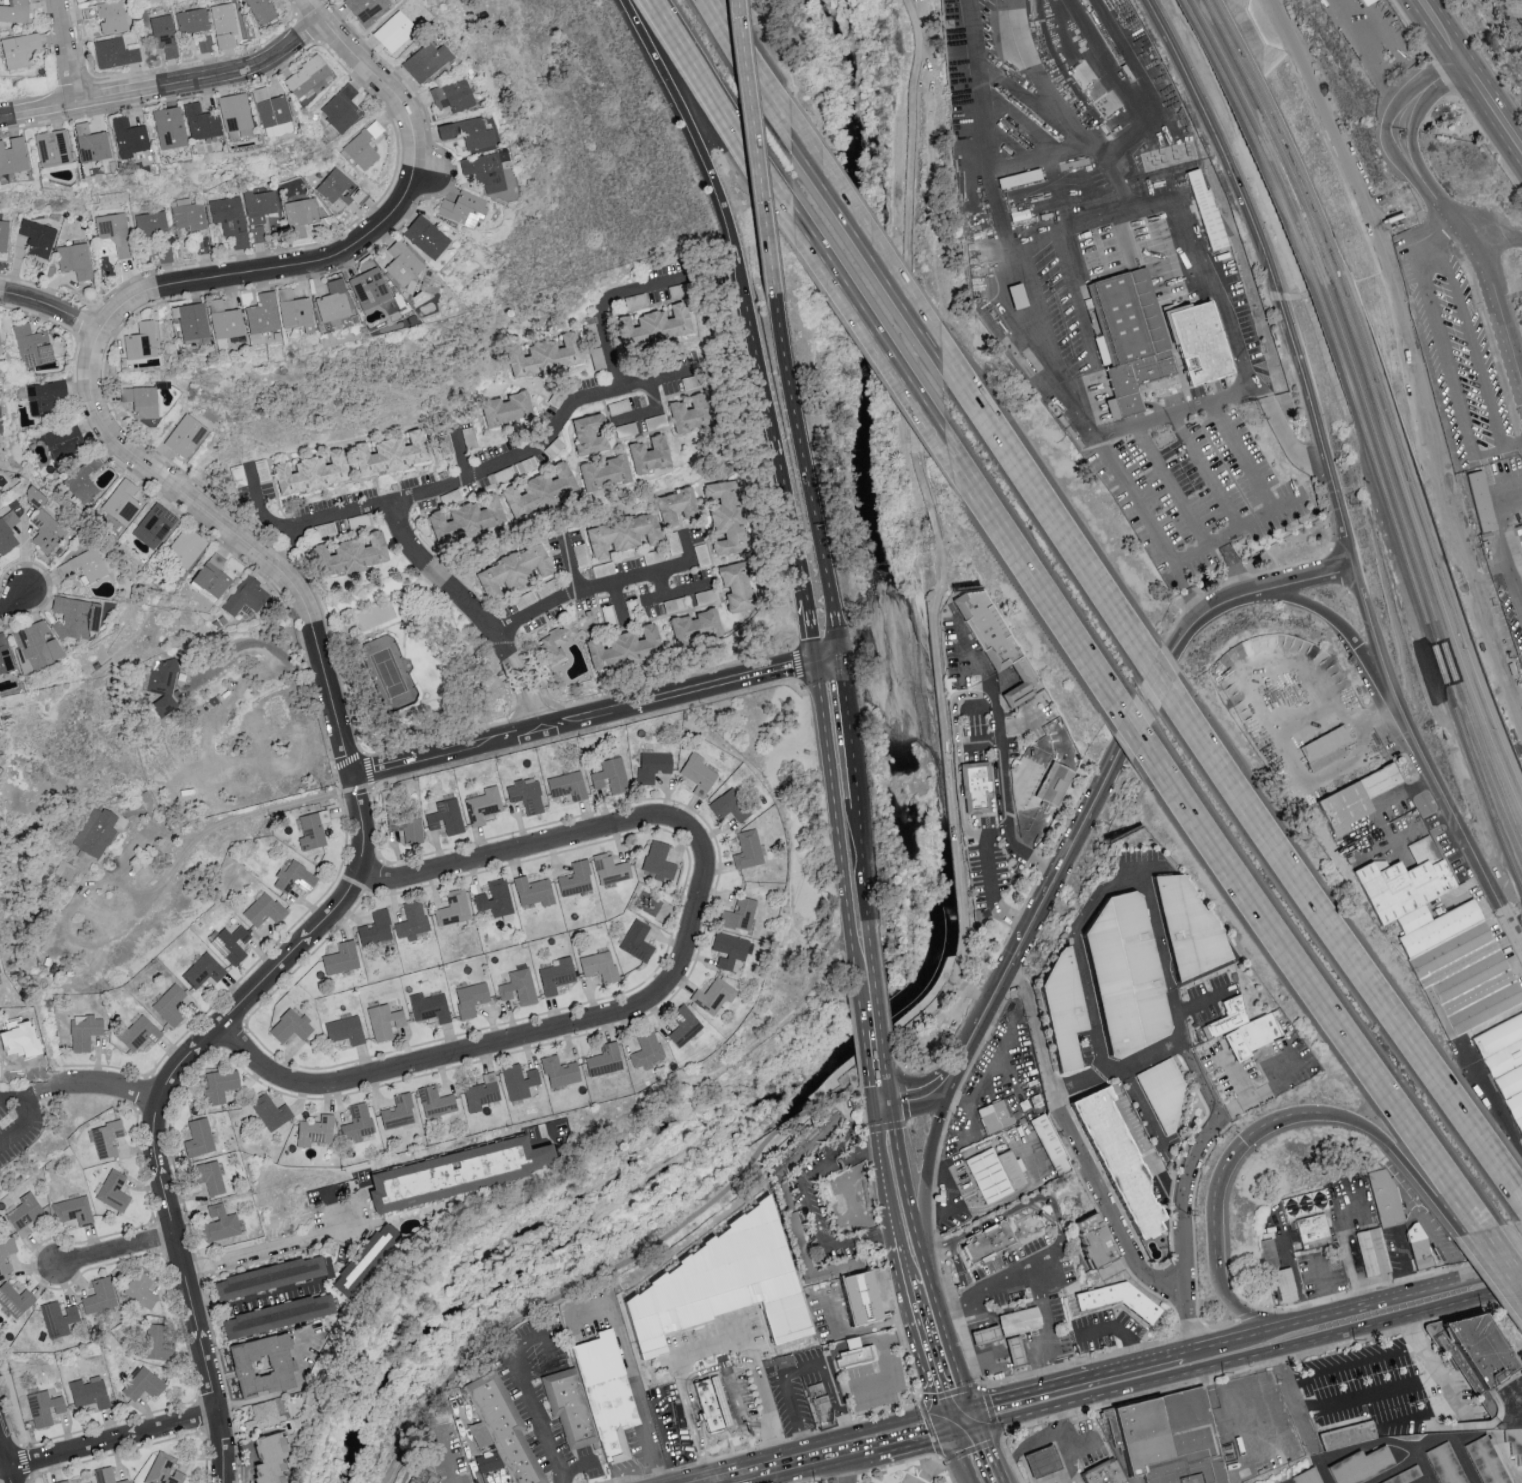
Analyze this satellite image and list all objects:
building: (1366, 1)
building: (261, 10)
building: (363, 10)
building: (14, 11)
building: (111, 16)
building: (191, 20)
building: (223, 24)
road: (1441, 27)
building: (392, 31)
building: (163, 34)
building: (19, 49)
road: (68, 52)
building: (114, 53)
road: (747, 55)
building: (424, 61)
building: (306, 77)
road: (167, 87)
building: (450, 94)
road: (1490, 101)
building: (342, 107)
road: (715, 108)
building: (232, 111)
building: (270, 112)
building: (199, 121)
road: (1325, 124)
building: (167, 127)
building: (466, 132)
building: (127, 136)
building: (89, 143)
building: (361, 146)
building: (51, 147)
road: (705, 147)
road: (753, 148)
building: (13, 155)
road: (1051, 156)
building: (485, 170)
building: (1024, 177)
building: (339, 187)
building: (259, 205)
road: (1434, 207)
building: (463, 208)
building: (1206, 208)
building: (300, 215)
building: (230, 218)
road: (1484, 219)
building: (151, 223)
road: (1411, 232)
building: (114, 233)
building: (257, 233)
building: (3, 234)
building: (425, 236)
building: (37, 237)
road: (865, 238)
building: (75, 259)
building: (402, 262)
road: (1270, 274)
building: (369, 288)
building: (333, 301)
road: (601, 307)
road: (51, 309)
building: (294, 310)
road: (113, 314)
building: (261, 315)
building: (190, 321)
building: (223, 322)
building: (654, 328)
road: (1468, 334)
building: (1128, 338)
road: (870, 339)
building: (141, 341)
building: (1198, 343)
building: (32, 345)
parking lot: (1456, 348)
building: (0, 352)
building: (544, 356)
road: (1449, 370)
railway: (1382, 391)
building: (45, 396)
building: (140, 401)
railway: (1376, 403)
building: (506, 409)
road: (1177, 409)
building: (689, 413)
road: (1428, 415)
railway: (1370, 423)
road: (1285, 430)
building: (589, 434)
building: (184, 435)
railway: (1365, 438)
building: (64, 441)
road: (777, 452)
building: (391, 453)
road: (1242, 453)
building: (649, 454)
road: (506, 459)
road: (1205, 468)
building: (605, 472)
building: (312, 473)
road: (806, 478)
building: (83, 480)
road: (1170, 483)
parking lot: (1195, 488)
building: (540, 491)
building: (33, 496)
road: (1040, 501)
building: (1480, 501)
building: (121, 503)
building: (677, 506)
road: (260, 512)
road: (1256, 516)
building: (726, 517)
building: (465, 520)
building: (154, 525)
road: (1147, 525)
building: (1521, 528)
building: (7, 531)
building: (45, 531)
building: (622, 534)
building: (186, 547)
road: (287, 547)
road: (1193, 549)
road: (1498, 551)
building: (350, 554)
road: (568, 561)
road: (1233, 563)
building: (83, 565)
road: (1023, 570)
building: (512, 571)
road: (1257, 574)
building: (212, 575)
road: (938, 578)
road: (586, 586)
building: (735, 586)
building: (245, 596)
road: (14, 601)
road: (477, 607)
building: (74, 617)
road: (1193, 620)
road: (1338, 623)
road: (1495, 623)
building: (695, 627)
road: (813, 630)
building: (555, 642)
building: (996, 644)
building: (36, 645)
road: (249, 645)
building: (624, 648)
building: (4, 656)
traffic signals: (827, 661)
road: (1160, 682)
building: (161, 684)
road: (976, 710)
road: (1307, 716)
road: (589, 717)
road: (1278, 727)
road: (1126, 728)
parking lot: (972, 732)
road: (836, 734)
road: (980, 741)
building: (1325, 750)
road: (956, 759)
road: (998, 759)
road: (1425, 764)
building: (653, 766)
building: (698, 774)
building: (610, 776)
building: (567, 785)
building: (975, 787)
building: (1054, 787)
building: (526, 795)
building: (1355, 798)
building: (482, 804)
building: (729, 805)
road: (1377, 809)
building: (446, 816)
road: (625, 824)
building: (406, 825)
building: (312, 828)
road: (1419, 828)
building: (95, 831)
road: (994, 833)
building: (748, 849)
road: (1050, 853)
building: (658, 860)
parking lot: (984, 864)
building: (610, 868)
building: (64, 869)
river: (919, 871)
road: (853, 874)
road: (1058, 874)
building: (294, 877)
building: (575, 878)
building: (1400, 883)
building: (533, 890)
road: (149, 893)
road: (989, 895)
road: (1460, 895)
building: (495, 897)
building: (263, 909)
building: (452, 909)
building: (739, 913)
building: (412, 920)
building: (375, 928)
building: (1188, 929)
building: (637, 940)
building: (231, 943)
road: (1076, 946)
building: (729, 949)
building: (341, 957)
road: (1161, 960)
building: (599, 965)
road: (1353, 967)
building: (1458, 968)
building: (203, 969)
building: (556, 974)
building: (1125, 976)
road: (867, 986)
building: (518, 987)
road: (1010, 990)
building: (713, 995)
road: (885, 996)
building: (470, 998)
building: (170, 1004)
road: (1315, 1005)
building: (429, 1006)
building: (1214, 1008)
building: (1061, 1010)
building: (384, 1021)
building: (683, 1025)
building: (290, 1026)
road: (853, 1027)
building: (345, 1029)
road: (977, 1029)
building: (84, 1031)
building: (137, 1032)
building: (1259, 1033)
building: (10, 1034)
building: (1235, 1045)
building: (646, 1049)
road: (1185, 1050)
building: (604, 1059)
road: (877, 1060)
road: (418, 1062)
building: (1505, 1065)
road: (989, 1066)
road: (1470, 1067)
road: (1116, 1070)
building: (559, 1071)
road: (1098, 1073)
road: (1234, 1074)
road: (845, 1078)
building: (518, 1080)
building: (218, 1084)
road: (108, 1085)
road: (1262, 1087)
road: (37, 1088)
building: (481, 1092)
road: (928, 1093)
road: (162, 1094)
building: (1164, 1097)
road: (881, 1098)
building: (435, 1101)
road: (893, 1105)
traffic signals: (883, 1107)
road: (967, 1110)
building: (271, 1111)
building: (398, 1112)
road: (29, 1114)
road: (862, 1114)
road: (905, 1115)
building: (997, 1119)
building: (357, 1122)
building: (314, 1130)
building: (199, 1137)
building: (106, 1138)
building: (1054, 1151)
road: (1144, 1151)
road: (1403, 1158)
road: (1197, 1159)
road: (1227, 1163)
building: (1117, 1166)
building: (459, 1171)
road: (1363, 1173)
building: (994, 1174)
road: (892, 1175)
road: (1089, 1175)
building: (210, 1176)
road: (924, 1184)
road: (934, 1187)
road: (1022, 1190)
building: (113, 1191)
road: (952, 1193)
road: (1321, 1199)
building: (1386, 1200)
road: (812, 1207)
building: (73, 1210)
building: (23, 1213)
building: (788, 1213)
road: (1414, 1215)
road: (1192, 1219)
road: (1058, 1226)
building: (1313, 1230)
building: (1092, 1246)
building: (1420, 1248)
building: (989, 1249)
building: (6, 1252)
road: (116, 1252)
building: (1267, 1252)
building: (1372, 1253)
road: (263, 1255)
building: (364, 1258)
road: (1123, 1263)
road: (1156, 1266)
road: (914, 1267)
road: (1496, 1269)
building: (268, 1276)
road: (590, 1281)
road: (1392, 1283)
building: (723, 1284)
road: (1326, 1285)
building: (141, 1287)
building: (1283, 1287)
building: (870, 1292)
road: (261, 1294)
building: (99, 1295)
building: (14, 1299)
building: (851, 1299)
building: (1120, 1303)
road: (1361, 1306)
road: (1242, 1310)
road: (925, 1311)
building: (277, 1314)
road: (587, 1316)
building: (58, 1317)
road: (1250, 1317)
road: (856, 1324)
building: (1019, 1325)
road: (1220, 1325)
road: (1191, 1326)
road: (1121, 1328)
road: (1363, 1329)
parking lot: (1105, 1330)
road: (1413, 1331)
road: (907, 1337)
building: (984, 1339)
gas station: (984, 1339)
building: (156, 1342)
road: (527, 1342)
road: (1036, 1344)
building: (1474, 1347)
road: (549, 1349)
road: (937, 1351)
road: (1186, 1352)
building: (1015, 1355)
gas station: (1015, 1355)
building: (853, 1357)
road: (910, 1360)
road: (886, 1361)
road: (1073, 1362)
building: (264, 1364)
road: (720, 1364)
road: (1044, 1364)
road: (1132, 1364)
road: (1353, 1365)
road: (804, 1367)
road: (834, 1367)
road: (1259, 1367)
road: (1191, 1370)
building: (143, 1384)
road: (1136, 1384)
road: (685, 1388)
road: (1367, 1390)
road: (285, 1391)
building: (88, 1392)
road: (760, 1392)
road: (951, 1392)
road: (1024, 1392)
road: (634, 1394)
building: (605, 1397)
road: (953, 1398)
road: (1293, 1398)
road: (1076, 1400)
road: (1518, 1401)
road: (1455, 1405)
building: (43, 1406)
building: (708, 1406)
road: (1055, 1406)
building: (820, 1409)
building: (568, 1411)
building: (263, 1414)
road: (536, 1418)
road: (1007, 1418)
traffic signals: (962, 1425)
road: (1468, 1425)
road: (930, 1426)
building: (507, 1427)
road: (922, 1434)
building: (1347, 1434)
road: (998, 1439)
road: (114, 1442)
building: (1168, 1442)
road: (1034, 1443)
road: (762, 1445)
road: (1075, 1445)
building: (1515, 1445)
road: (973, 1451)
road: (1275, 1452)
road: (5, 1455)
road: (412, 1455)
building: (269, 1458)
road: (447, 1458)
road: (1011, 1461)
building: (1486, 1462)
road: (804, 1463)
building: (1042, 1465)
gas station: (1042, 1465)
building: (1445, 1465)
road: (1076, 1466)
road: (844, 1467)
road: (5, 1469)
road: (947, 1469)
building: (1363, 1469)
building: (163, 1470)
road: (868, 1470)
building: (1104, 1474)
building: (106, 1475)
road: (11, 1477)
building: (1408, 1477)
building: (427, 1478)
building: (1307, 1478)
road: (986, 1480)
building: (61, 1481)
building: (88, 1482)

